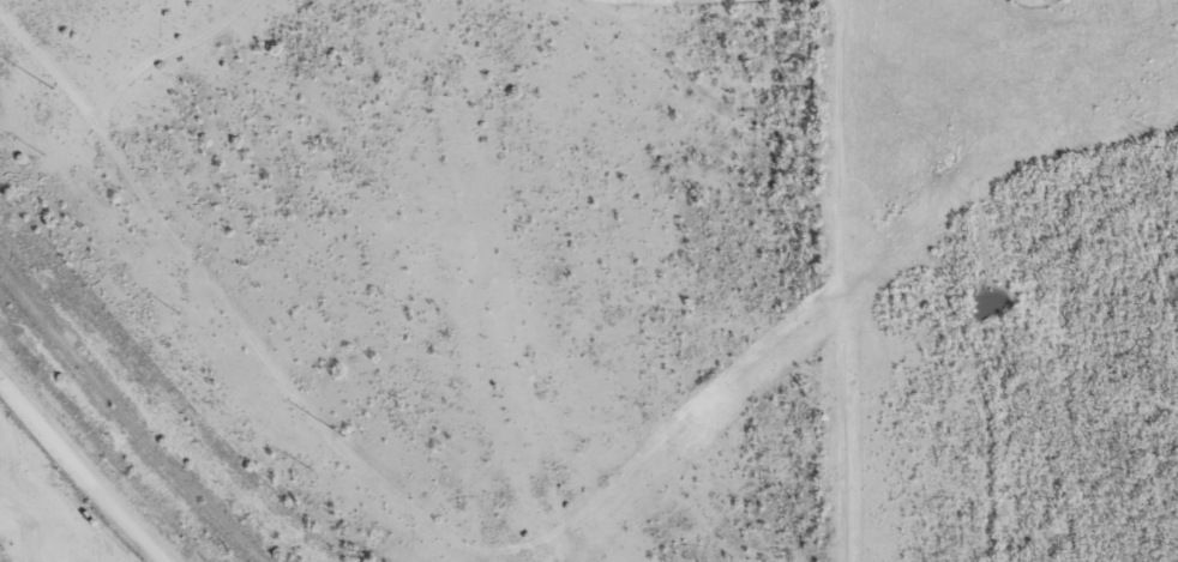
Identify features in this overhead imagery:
road: (11, 413)
road: (84, 469)

